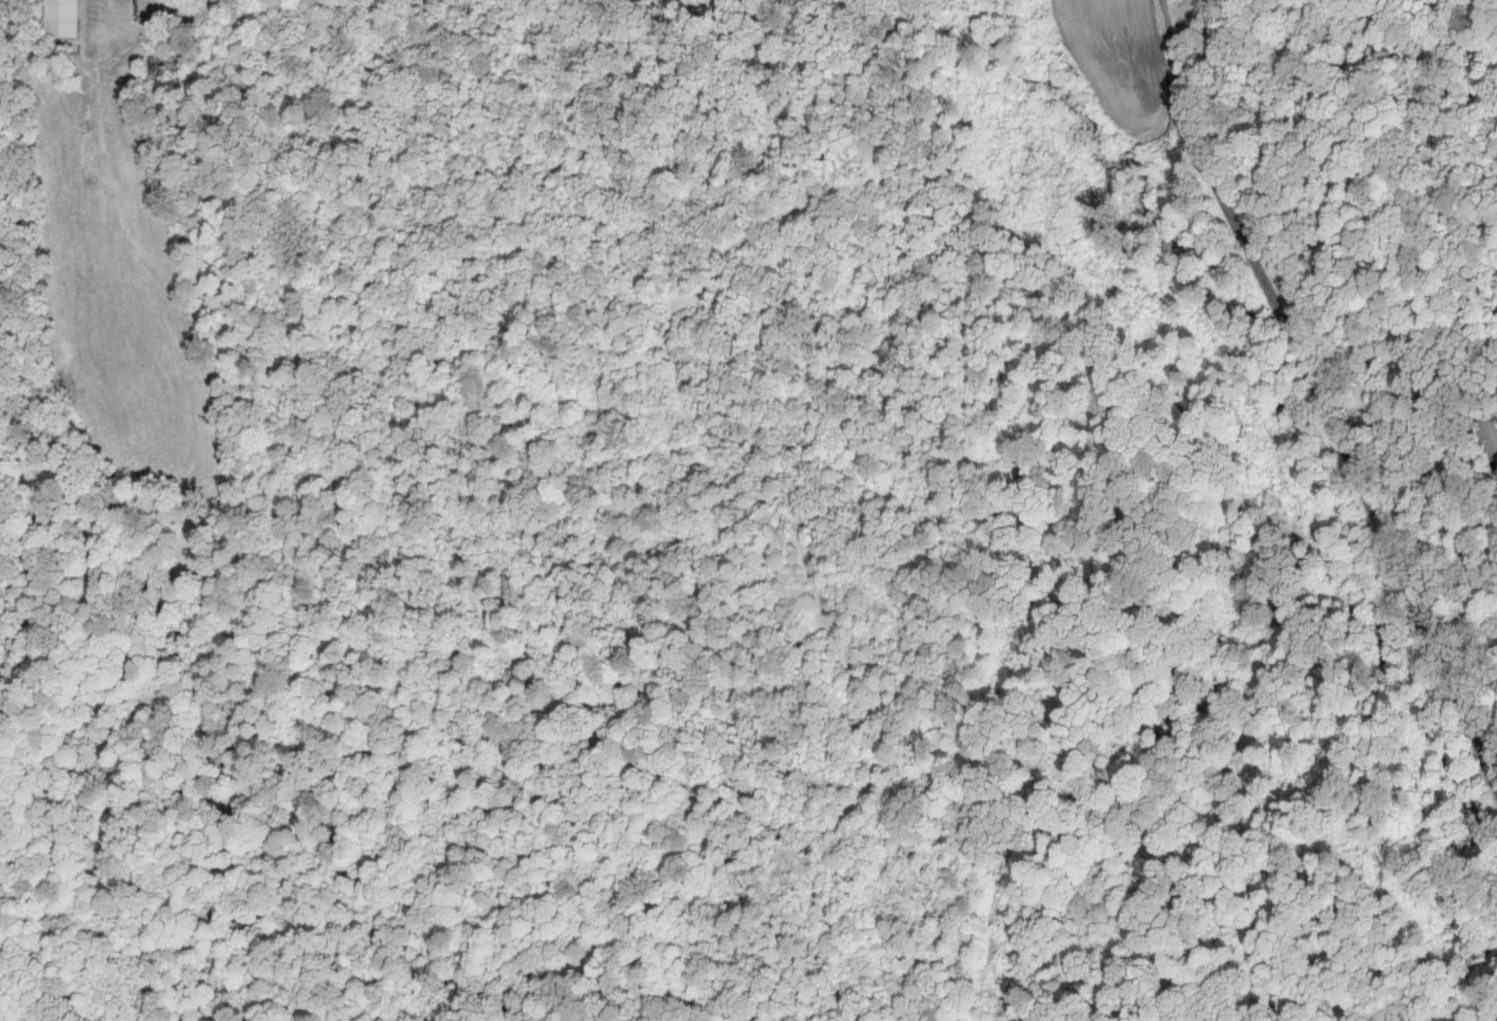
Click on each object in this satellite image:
road: (1177, 11)
building: (64, 19)
road: (1322, 396)
building: (1488, 433)
road: (1472, 569)

